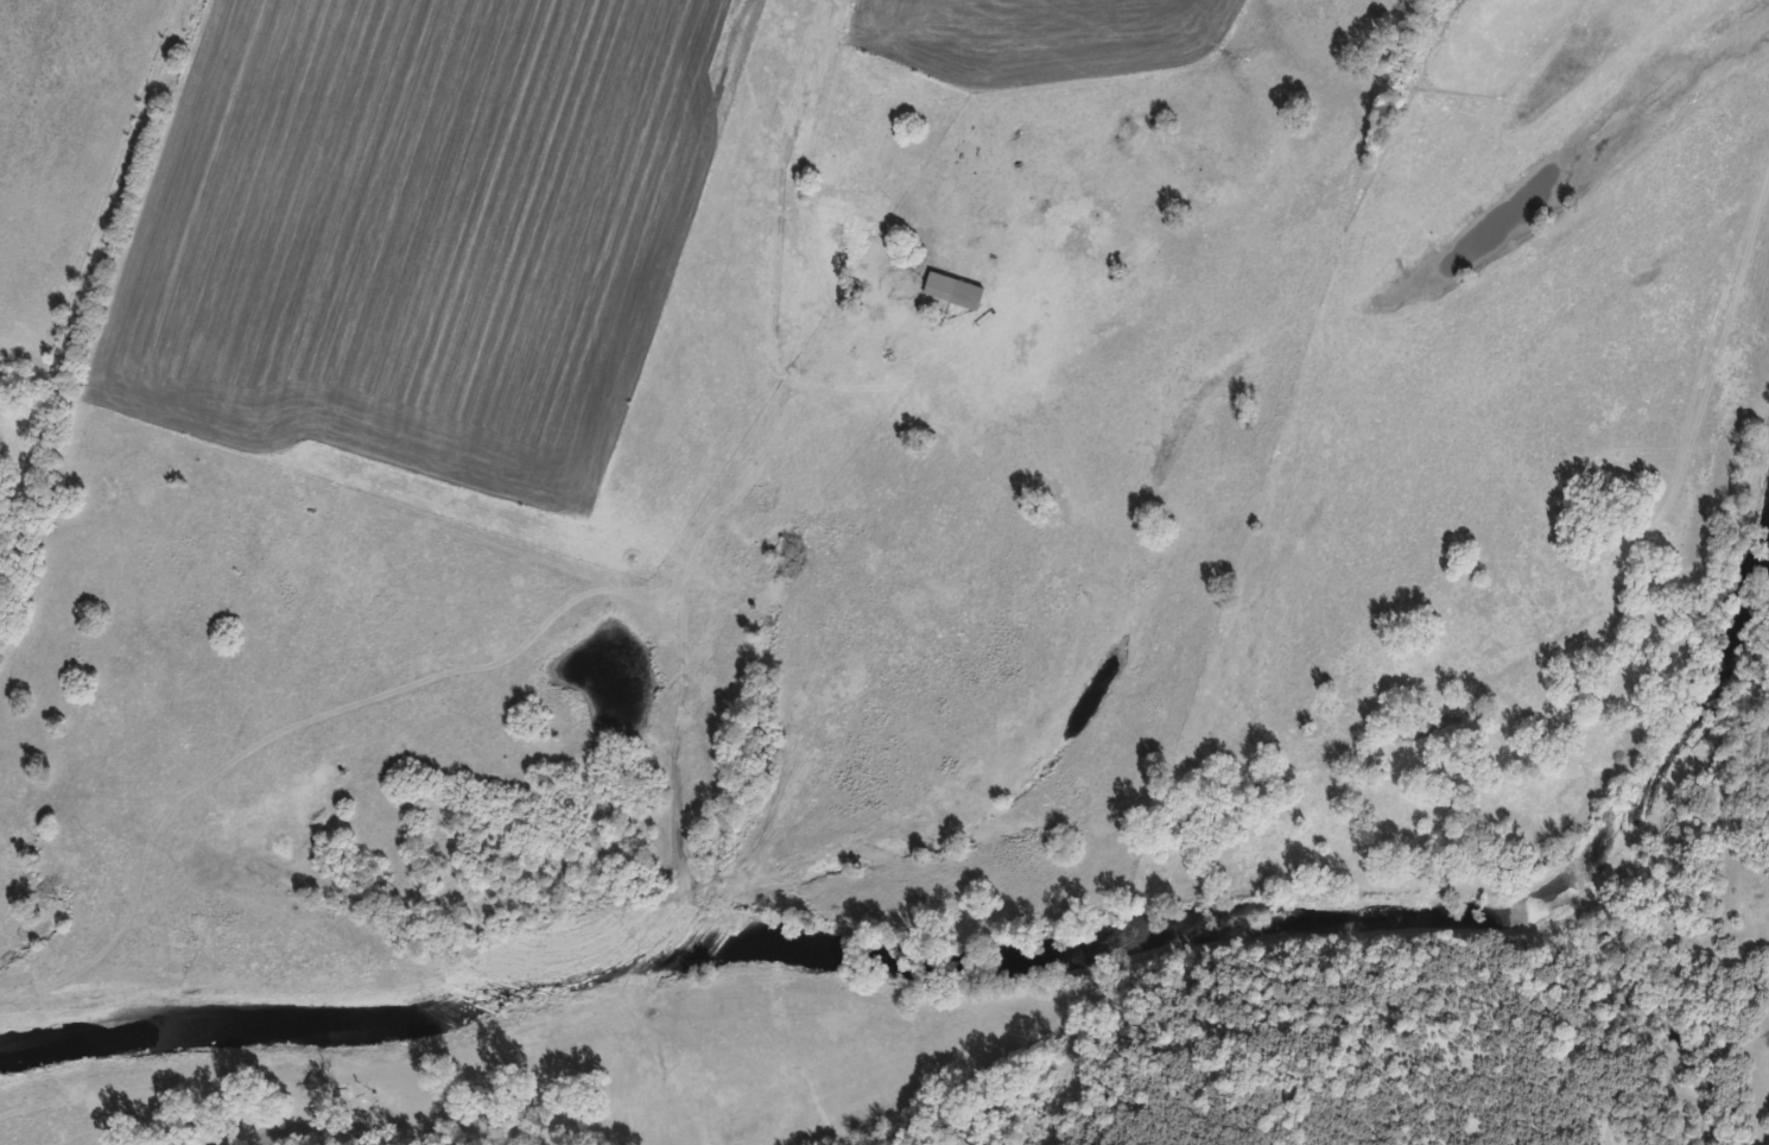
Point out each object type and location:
building: (953, 290)

